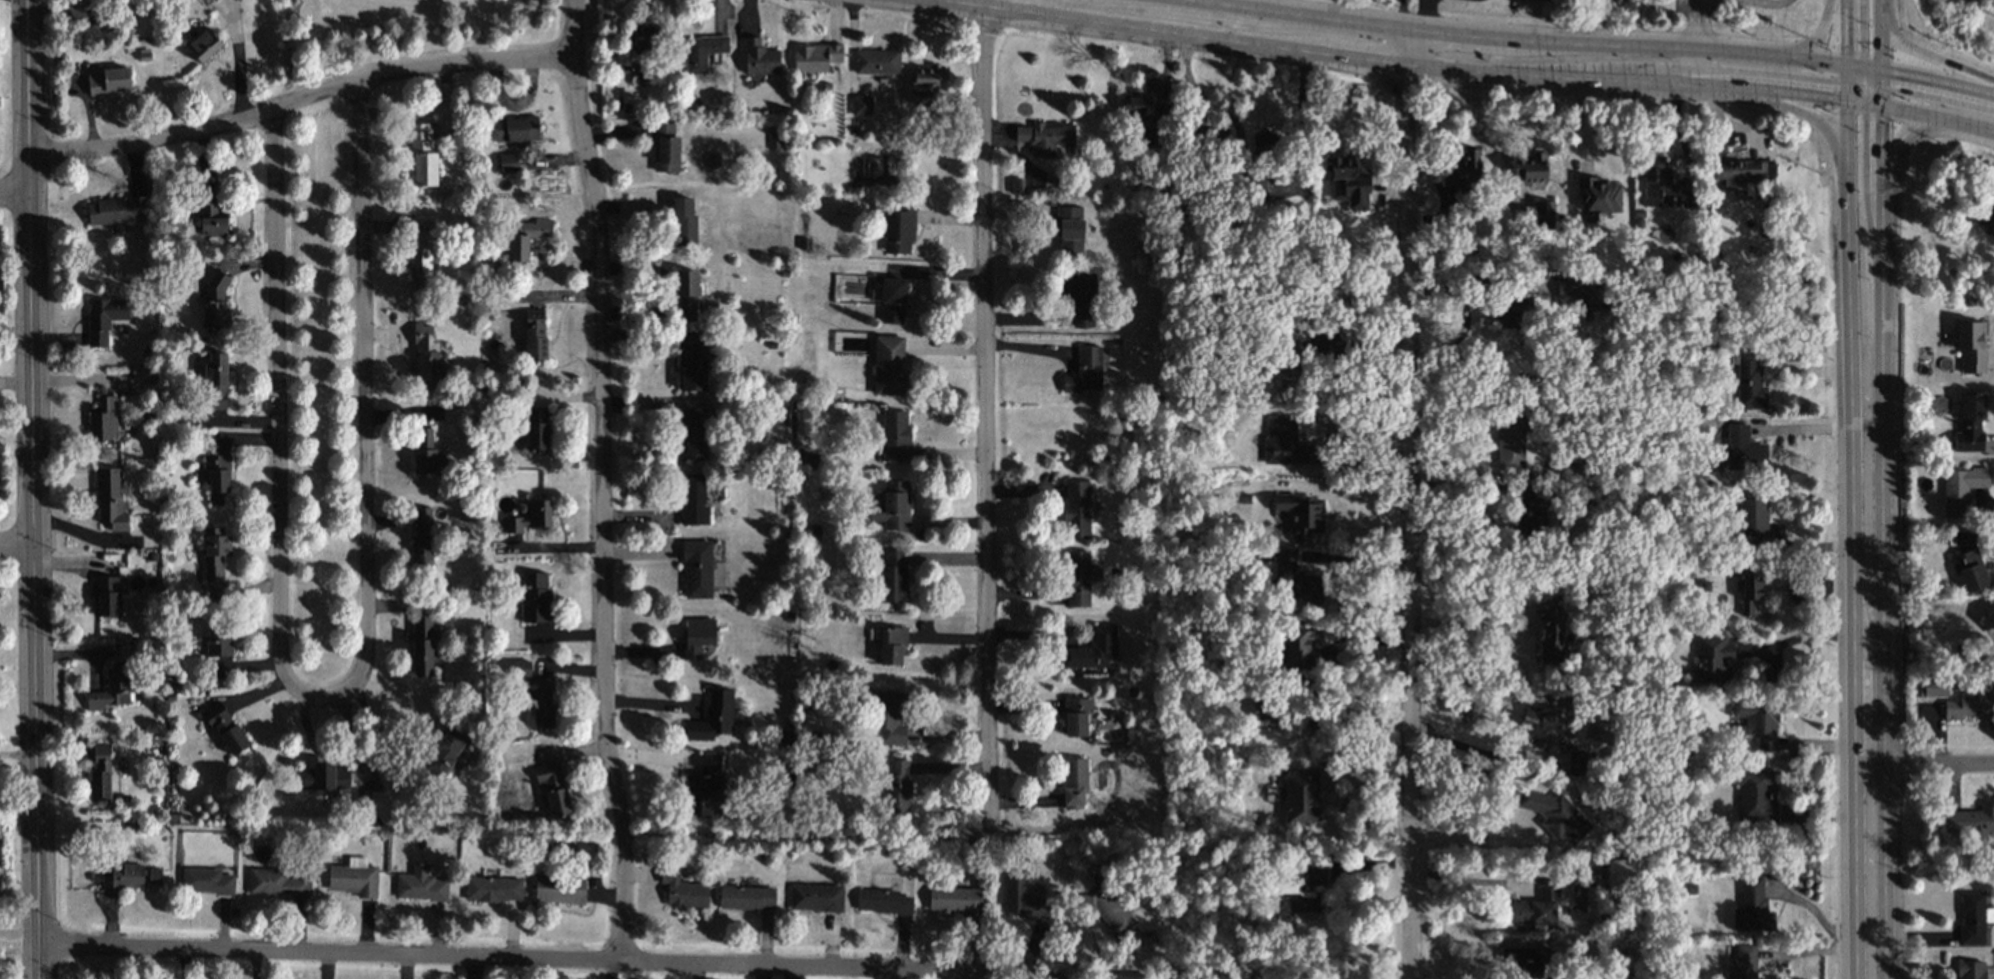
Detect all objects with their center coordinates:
building: (234, 0)
road: (1421, 19)
road: (1133, 26)
road: (1694, 27)
road: (1445, 32)
road: (1847, 34)
road: (1859, 35)
building: (645, 39)
road: (1808, 43)
road: (1879, 44)
building: (203, 45)
road: (1403, 47)
building: (702, 52)
road: (1927, 53)
road: (1694, 55)
building: (815, 57)
building: (760, 58)
road: (1366, 59)
building: (876, 61)
road: (1772, 61)
road: (1697, 63)
road: (235, 64)
traffic signals: (1848, 69)
road: (1855, 69)
road: (1711, 71)
traffic signals: (1880, 72)
road: (1489, 73)
road: (1854, 74)
road: (1864, 75)
road: (1847, 76)
road: (1873, 77)
building: (108, 80)
building: (926, 81)
road: (1862, 81)
road: (1853, 83)
road: (1928, 83)
road: (1867, 84)
road: (1711, 85)
road: (1860, 85)
road: (1864, 88)
road: (1874, 88)
road: (1847, 92)
road: (1852, 93)
road: (1673, 95)
road: (1862, 95)
road: (1880, 97)
road: (1871, 98)
road: (1936, 100)
road: (300, 101)
traffic signals: (1847, 101)
road: (1855, 102)
building: (1136, 104)
road: (1871, 104)
building: (861, 105)
traffic signals: (1880, 105)
road: (1937, 117)
building: (516, 129)
building: (1220, 135)
building: (1045, 137)
building: (1263, 143)
building: (666, 147)
building: (423, 156)
building: (507, 163)
road: (1899, 165)
building: (1530, 168)
building: (1463, 171)
building: (1742, 171)
building: (1653, 177)
building: (1348, 182)
road: (1863, 183)
road: (1880, 183)
building: (1015, 185)
building: (1259, 189)
road: (14, 194)
building: (1599, 196)
building: (119, 213)
building: (1983, 214)
building: (1544, 215)
building: (211, 216)
building: (683, 223)
building: (899, 229)
building: (1070, 230)
building: (526, 238)
building: (422, 253)
road: (1846, 261)
building: (1581, 294)
building: (686, 295)
building: (1079, 297)
building: (214, 298)
building: (893, 301)
building: (1513, 311)
building: (104, 318)
building: (535, 334)
road: (1879, 340)
building: (1971, 346)
building: (425, 359)
building: (1289, 361)
road: (1329, 363)
building: (888, 365)
building: (692, 371)
building: (1085, 371)
building: (216, 380)
building: (1749, 381)
road: (363, 403)
building: (778, 417)
road: (277, 418)
building: (104, 419)
road: (987, 422)
building: (1970, 423)
road: (1811, 427)
building: (536, 428)
building: (693, 435)
building: (895, 436)
building: (1286, 443)
building: (1510, 443)
road: (1323, 448)
building: (1744, 449)
building: (427, 452)
building: (217, 478)
road: (32, 489)
road: (602, 489)
building: (1961, 489)
building: (110, 499)
building: (693, 500)
building: (892, 506)
building: (1076, 510)
building: (1527, 513)
building: (1301, 515)
building: (529, 516)
building: (1753, 516)
road: (1407, 521)
road: (1342, 522)
building: (422, 537)
road: (1810, 546)
road: (16, 547)
road: (549, 547)
building: (215, 553)
road: (1353, 559)
building: (697, 569)
building: (1970, 570)
building: (893, 575)
building: (1078, 579)
building: (1296, 580)
road: (1867, 591)
building: (1749, 593)
building: (105, 595)
building: (535, 598)
building: (1989, 621)
road: (1460, 624)
building: (1550, 634)
road: (1804, 634)
building: (697, 636)
building: (219, 640)
building: (422, 645)
building: (891, 645)
building: (1298, 648)
building: (1093, 649)
building: (1712, 659)
building: (520, 668)
building: (1935, 687)
building: (111, 688)
building: (544, 704)
building: (1969, 705)
road: (1331, 710)
building: (1264, 713)
building: (1076, 716)
building: (713, 717)
building: (888, 718)
building: (1758, 720)
building: (224, 727)
road: (1462, 748)
building: (446, 750)
road: (17, 754)
road: (1931, 765)
building: (100, 773)
building: (323, 777)
building: (1074, 783)
building: (704, 786)
building: (898, 786)
building: (553, 788)
building: (1757, 795)
building: (1302, 796)
building: (1555, 815)
building: (1971, 823)
road: (1869, 872)
building: (1621, 874)
building: (1316, 875)
building: (130, 877)
building: (354, 878)
road: (1469, 880)
building: (206, 881)
building: (275, 883)
building: (421, 885)
building: (493, 889)
building: (559, 889)
building: (682, 890)
building: (746, 897)
building: (816, 898)
building: (1023, 898)
building: (956, 900)
building: (882, 902)
building: (1296, 904)
building: (1106, 908)
building: (1536, 908)
building: (1753, 908)
road: (1818, 914)
building: (1971, 918)
road: (18, 930)
road: (1817, 949)
road: (540, 959)
building: (1526, 962)
building: (1742, 963)
building: (1971, 970)
building: (1130, 975)

